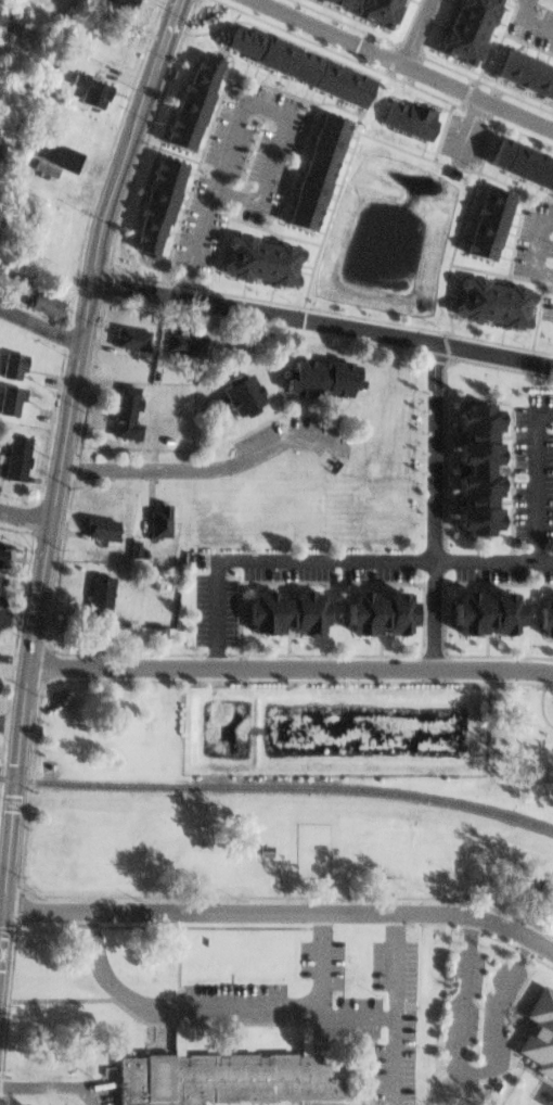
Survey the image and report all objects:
building: (325, 0)
building: (337, 1)
building: (121, 2)
building: (366, 9)
building: (9, 20)
road: (526, 22)
building: (455, 26)
road: (412, 31)
building: (291, 61)
road: (401, 64)
building: (522, 71)
building: (86, 88)
building: (182, 93)
road: (286, 114)
building: (400, 115)
road: (464, 125)
building: (46, 152)
building: (520, 158)
building: (308, 163)
road: (121, 168)
building: (150, 199)
building: (481, 220)
road: (194, 241)
road: (533, 247)
building: (254, 254)
building: (487, 297)
building: (42, 301)
road: (323, 316)
road: (40, 325)
building: (126, 333)
building: (177, 336)
building: (10, 363)
building: (310, 374)
building: (231, 388)
building: (7, 396)
building: (118, 411)
building: (11, 454)
building: (465, 461)
road: (205, 465)
road: (532, 485)
road: (432, 505)
building: (152, 516)
road: (23, 521)
building: (93, 523)
building: (1, 542)
building: (1, 552)
road: (319, 559)
building: (91, 590)
building: (278, 605)
building: (370, 607)
building: (476, 607)
building: (542, 611)
road: (34, 622)
road: (14, 658)
road: (290, 666)
road: (538, 703)
road: (11, 723)
railway: (279, 787)
building: (259, 846)
park: (309, 849)
park: (283, 893)
road: (280, 913)
road: (62, 1000)
road: (218, 1009)
road: (394, 1009)
road: (352, 1017)
building: (536, 1028)
road: (463, 1070)
building: (226, 1074)

